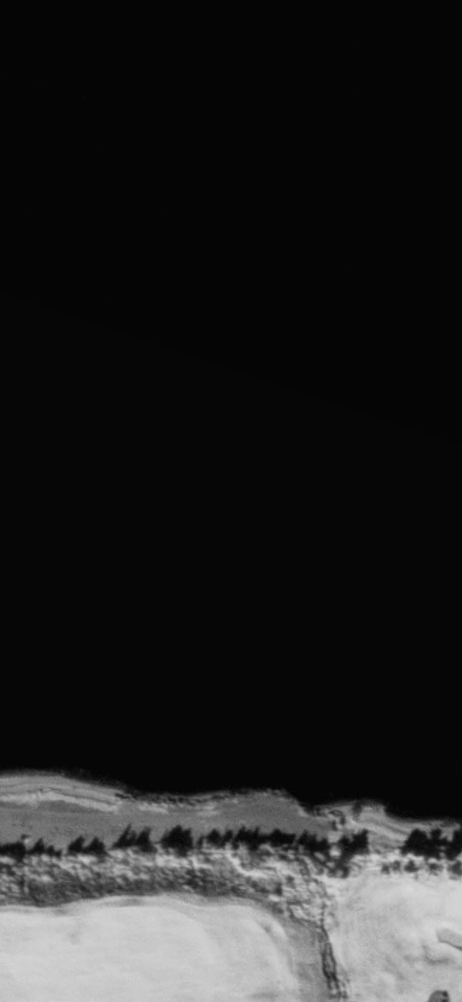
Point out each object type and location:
park: (457, 903)
park: (235, 927)
road: (434, 999)

